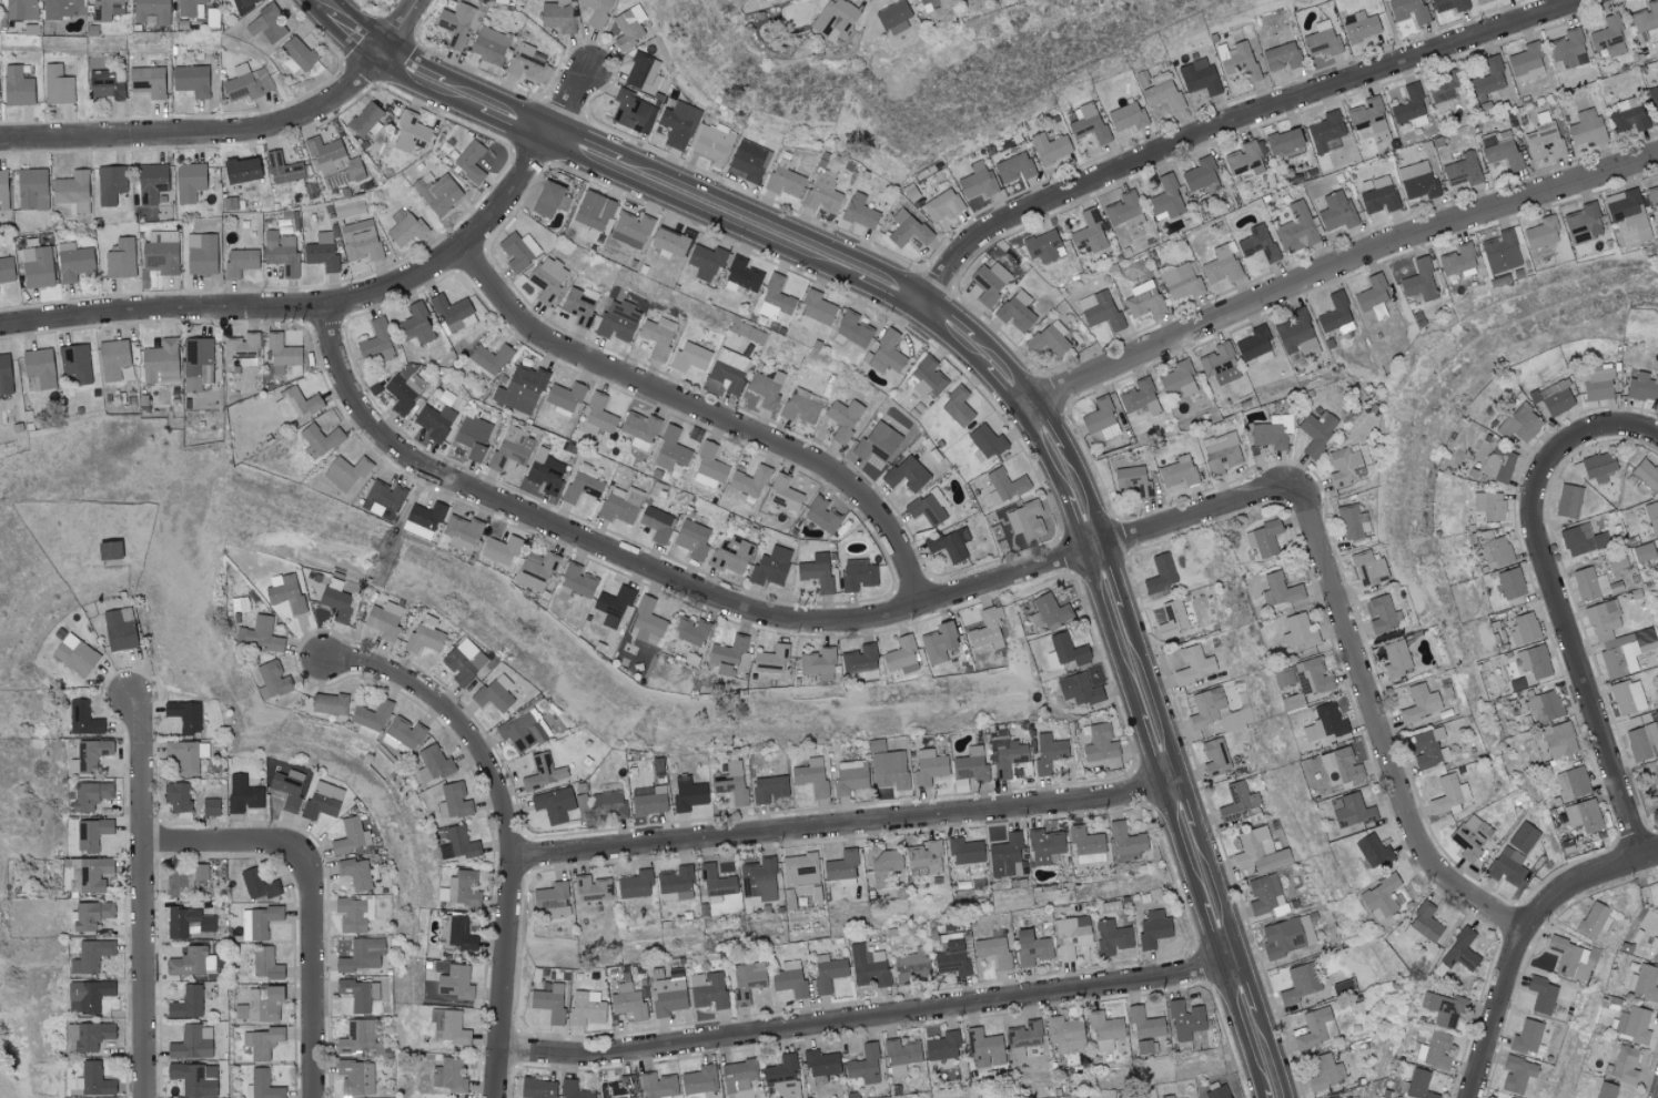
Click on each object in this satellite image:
building: (1480, 1)
building: (245, 4)
building: (926, 6)
building: (1449, 6)
building: (188, 8)
building: (21, 9)
building: (63, 9)
building: (109, 10)
building: (152, 11)
building: (1407, 11)
building: (597, 12)
building: (558, 16)
building: (894, 17)
building: (1645, 17)
building: (836, 18)
building: (458, 23)
building: (265, 24)
road: (352, 26)
road: (400, 26)
building: (629, 27)
building: (1359, 27)
building: (1608, 37)
building: (1322, 39)
building: (488, 44)
building: (1568, 48)
building: (296, 54)
building: (1281, 57)
building: (1239, 60)
building: (1526, 62)
building: (528, 64)
building: (643, 73)
building: (1199, 75)
building: (1488, 78)
building: (191, 80)
building: (148, 81)
building: (247, 83)
building: (105, 84)
building: (57, 85)
building: (17, 87)
building: (1443, 87)
building: (1163, 91)
building: (1654, 98)
building: (1409, 106)
building: (630, 110)
building: (1628, 114)
building: (1126, 115)
building: (1367, 115)
building: (365, 119)
road: (1233, 121)
building: (1088, 123)
building: (679, 124)
building: (1586, 126)
road: (203, 132)
building: (1326, 132)
building: (408, 133)
building: (1544, 140)
building: (1284, 141)
building: (714, 144)
building: (1050, 148)
building: (1500, 149)
building: (1412, 155)
building: (1243, 159)
building: (333, 161)
building: (469, 161)
building: (748, 161)
building: (1012, 163)
building: (283, 167)
building: (240, 169)
building: (1463, 170)
building: (1200, 174)
building: (977, 180)
building: (189, 181)
building: (1417, 181)
building: (151, 182)
building: (111, 183)
building: (31, 189)
building: (3, 190)
building: (73, 191)
building: (436, 192)
building: (823, 192)
building: (1379, 196)
building: (1652, 196)
building: (546, 199)
building: (1165, 199)
building: (941, 205)
building: (348, 209)
building: (594, 210)
building: (1124, 210)
building: (860, 211)
building: (1336, 211)
building: (1628, 211)
building: (1583, 223)
building: (405, 226)
building: (630, 228)
building: (907, 228)
building: (1296, 228)
building: (1089, 232)
building: (1541, 232)
building: (360, 240)
building: (669, 242)
building: (1256, 242)
building: (1042, 245)
building: (518, 250)
building: (281, 251)
building: (161, 252)
building: (321, 252)
building: (1500, 252)
building: (201, 254)
building: (121, 257)
building: (1458, 260)
building: (73, 261)
building: (240, 261)
building: (706, 261)
building: (1221, 264)
road: (1336, 265)
building: (37, 266)
building: (6, 270)
building: (742, 274)
building: (547, 277)
building: (1182, 279)
building: (1418, 281)
building: (990, 282)
building: (1372, 292)
building: (775, 298)
building: (1143, 299)
road: (346, 303)
building: (579, 305)
building: (815, 309)
building: (1100, 309)
building: (1017, 311)
building: (453, 313)
building: (1335, 314)
building: (618, 321)
building: (416, 324)
building: (851, 329)
building: (1296, 334)
building: (658, 336)
building: (375, 338)
building: (1050, 338)
building: (1253, 343)
building: (242, 348)
building: (282, 349)
building: (887, 353)
building: (691, 355)
building: (491, 357)
building: (112, 358)
building: (1217, 358)
building: (75, 362)
building: (161, 362)
building: (198, 363)
building: (40, 366)
building: (726, 373)
building: (4, 374)
building: (926, 378)
building: (1179, 379)
building: (1597, 383)
building: (1644, 386)
building: (767, 387)
building: (403, 388)
building: (520, 388)
building: (1556, 397)
building: (564, 398)
road: (1023, 403)
building: (295, 404)
building: (801, 405)
building: (957, 406)
road: (708, 415)
building: (597, 417)
building: (843, 417)
building: (435, 420)
building: (1101, 420)
building: (1519, 423)
road: (1624, 427)
building: (639, 429)
building: (1272, 431)
building: (1316, 431)
building: (473, 436)
building: (320, 440)
building: (878, 440)
building: (984, 443)
building: (510, 449)
building: (670, 450)
building: (1221, 451)
building: (1498, 465)
building: (709, 466)
building: (1345, 466)
building: (1595, 467)
building: (1179, 471)
building: (345, 472)
building: (544, 472)
building: (906, 472)
building: (1646, 476)
building: (1133, 481)
building: (583, 482)
building: (749, 484)
building: (1005, 485)
building: (783, 492)
building: (383, 499)
building: (1568, 500)
building: (619, 505)
building: (1488, 505)
building: (928, 507)
building: (821, 515)
building: (1651, 516)
building: (423, 519)
building: (1027, 519)
building: (1349, 521)
building: (657, 523)
building: (462, 532)
building: (692, 538)
building: (1264, 538)
building: (1581, 539)
building: (950, 543)
building: (109, 549)
building: (501, 549)
building: (1496, 551)
building: (1644, 551)
building: (730, 555)
building: (770, 566)
building: (1368, 568)
building: (536, 570)
building: (816, 571)
building: (857, 573)
building: (1161, 573)
building: (577, 579)
building: (1509, 582)
building: (1590, 583)
building: (1280, 590)
building: (285, 591)
building: (614, 600)
building: (337, 603)
building: (1049, 612)
road: (756, 613)
building: (1382, 613)
building: (384, 619)
building: (1174, 619)
building: (647, 620)
building: (119, 629)
building: (689, 629)
building: (1524, 629)
building: (988, 630)
building: (1298, 631)
building: (1192, 632)
building: (425, 633)
road: (1569, 633)
building: (259, 634)
building: (947, 634)
building: (1617, 640)
building: (932, 648)
building: (1065, 650)
building: (74, 654)
building: (727, 654)
building: (901, 655)
building: (770, 659)
building: (1395, 659)
building: (464, 661)
building: (861, 661)
building: (1534, 661)
building: (818, 662)
building: (1194, 664)
building: (1312, 675)
building: (271, 680)
building: (1078, 689)
building: (495, 692)
building: (1627, 697)
building: (1292, 702)
building: (328, 703)
building: (1419, 703)
building: (1545, 705)
building: (1206, 708)
building: (184, 715)
building: (82, 719)
building: (371, 719)
building: (1324, 723)
building: (517, 730)
road: (1379, 731)
building: (404, 734)
building: (1559, 740)
building: (1642, 741)
building: (1100, 743)
building: (1427, 748)
building: (1048, 753)
building: (1005, 754)
building: (90, 755)
building: (186, 755)
building: (1214, 756)
building: (433, 763)
building: (970, 764)
building: (887, 765)
building: (929, 766)
building: (1339, 767)
building: (543, 772)
building: (811, 775)
building: (849, 776)
building: (730, 782)
building: (1574, 783)
building: (289, 787)
building: (768, 787)
building: (688, 793)
building: (90, 794)
building: (243, 794)
building: (178, 795)
building: (1449, 795)
building: (323, 800)
building: (648, 800)
building: (453, 801)
building: (608, 801)
building: (554, 804)
building: (1242, 804)
building: (210, 806)
building: (1352, 812)
building: (1584, 815)
road: (841, 825)
road: (509, 828)
building: (92, 833)
building: (351, 836)
building: (1469, 836)
road: (221, 841)
building: (1126, 843)
building: (457, 844)
building: (1086, 845)
building: (1045, 846)
building: (966, 851)
building: (1260, 851)
building: (1373, 851)
building: (1004, 854)
building: (924, 858)
building: (883, 865)
building: (1507, 865)
building: (842, 867)
building: (355, 873)
building: (90, 874)
building: (801, 874)
building: (183, 877)
building: (759, 880)
building: (716, 882)
building: (635, 884)
building: (675, 884)
building: (257, 885)
building: (461, 888)
building: (593, 888)
building: (1264, 894)
road: (142, 896)
building: (1379, 897)
building: (552, 899)
building: (354, 913)
building: (91, 914)
building: (1595, 919)
building: (186, 922)
building: (257, 922)
building: (1423, 924)
building: (1153, 928)
building: (456, 933)
building: (1071, 935)
building: (1286, 935)
building: (1112, 937)
road: (1521, 938)
building: (1031, 948)
building: (1652, 948)
building: (993, 950)
building: (1460, 950)
building: (361, 955)
building: (1567, 955)
building: (91, 956)
building: (952, 958)
building: (192, 962)
building: (265, 963)
building: (912, 963)
building: (868, 967)
road: (315, 972)
building: (828, 972)
building: (747, 978)
building: (789, 979)
building: (455, 982)
building: (1298, 983)
building: (1644, 983)
building: (708, 990)
building: (358, 994)
building: (669, 994)
building: (88, 995)
building: (1541, 995)
building: (628, 1002)
building: (186, 1003)
building: (550, 1003)
building: (260, 1004)
building: (586, 1008)
building: (1445, 1010)
road: (867, 1018)
building: (1185, 1019)
building: (1144, 1024)
building: (1632, 1024)
building: (448, 1026)
building: (1316, 1027)
building: (1105, 1030)
building: (1065, 1034)
building: (90, 1035)
building: (1526, 1037)
building: (361, 1039)
building: (1023, 1039)
building: (262, 1041)
building: (1194, 1041)
building: (192, 1043)
building: (942, 1046)
building: (1143, 1046)
building: (985, 1048)
building: (1434, 1050)
building: (901, 1055)
building: (865, 1065)
building: (1625, 1065)
building: (821, 1066)
building: (1325, 1072)
building: (739, 1074)
building: (448, 1075)
building: (1517, 1075)
building: (356, 1077)
building: (783, 1077)
building: (194, 1078)
building: (93, 1079)
building: (699, 1079)
building: (1416, 1085)
building: (658, 1086)
building: (537, 1088)
building: (619, 1088)
building: (573, 1090)
building: (1606, 1090)
building: (1216, 1092)
building: (1166, 1096)
building: (1083, 1097)
building: (1336, 1097)
building: (1509, 1097)

